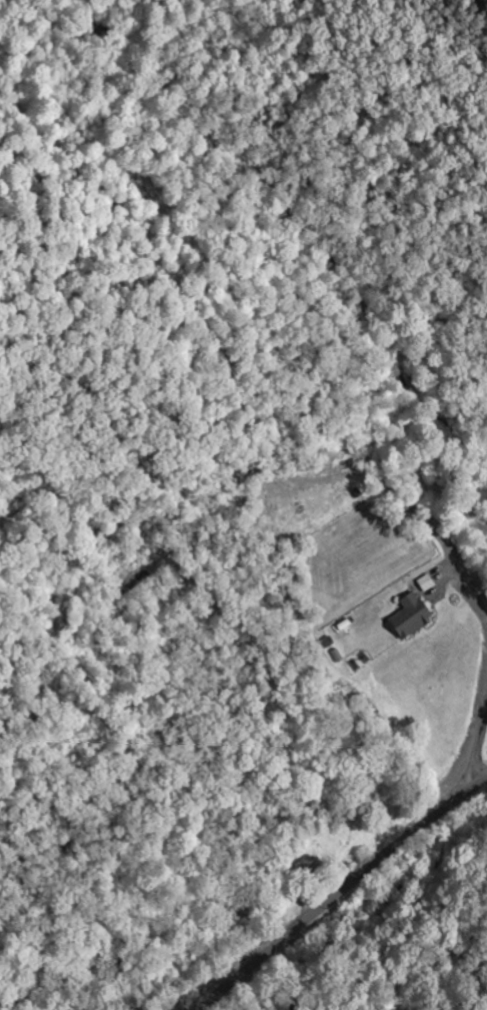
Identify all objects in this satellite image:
building: (425, 580)
building: (410, 614)
road: (343, 891)

